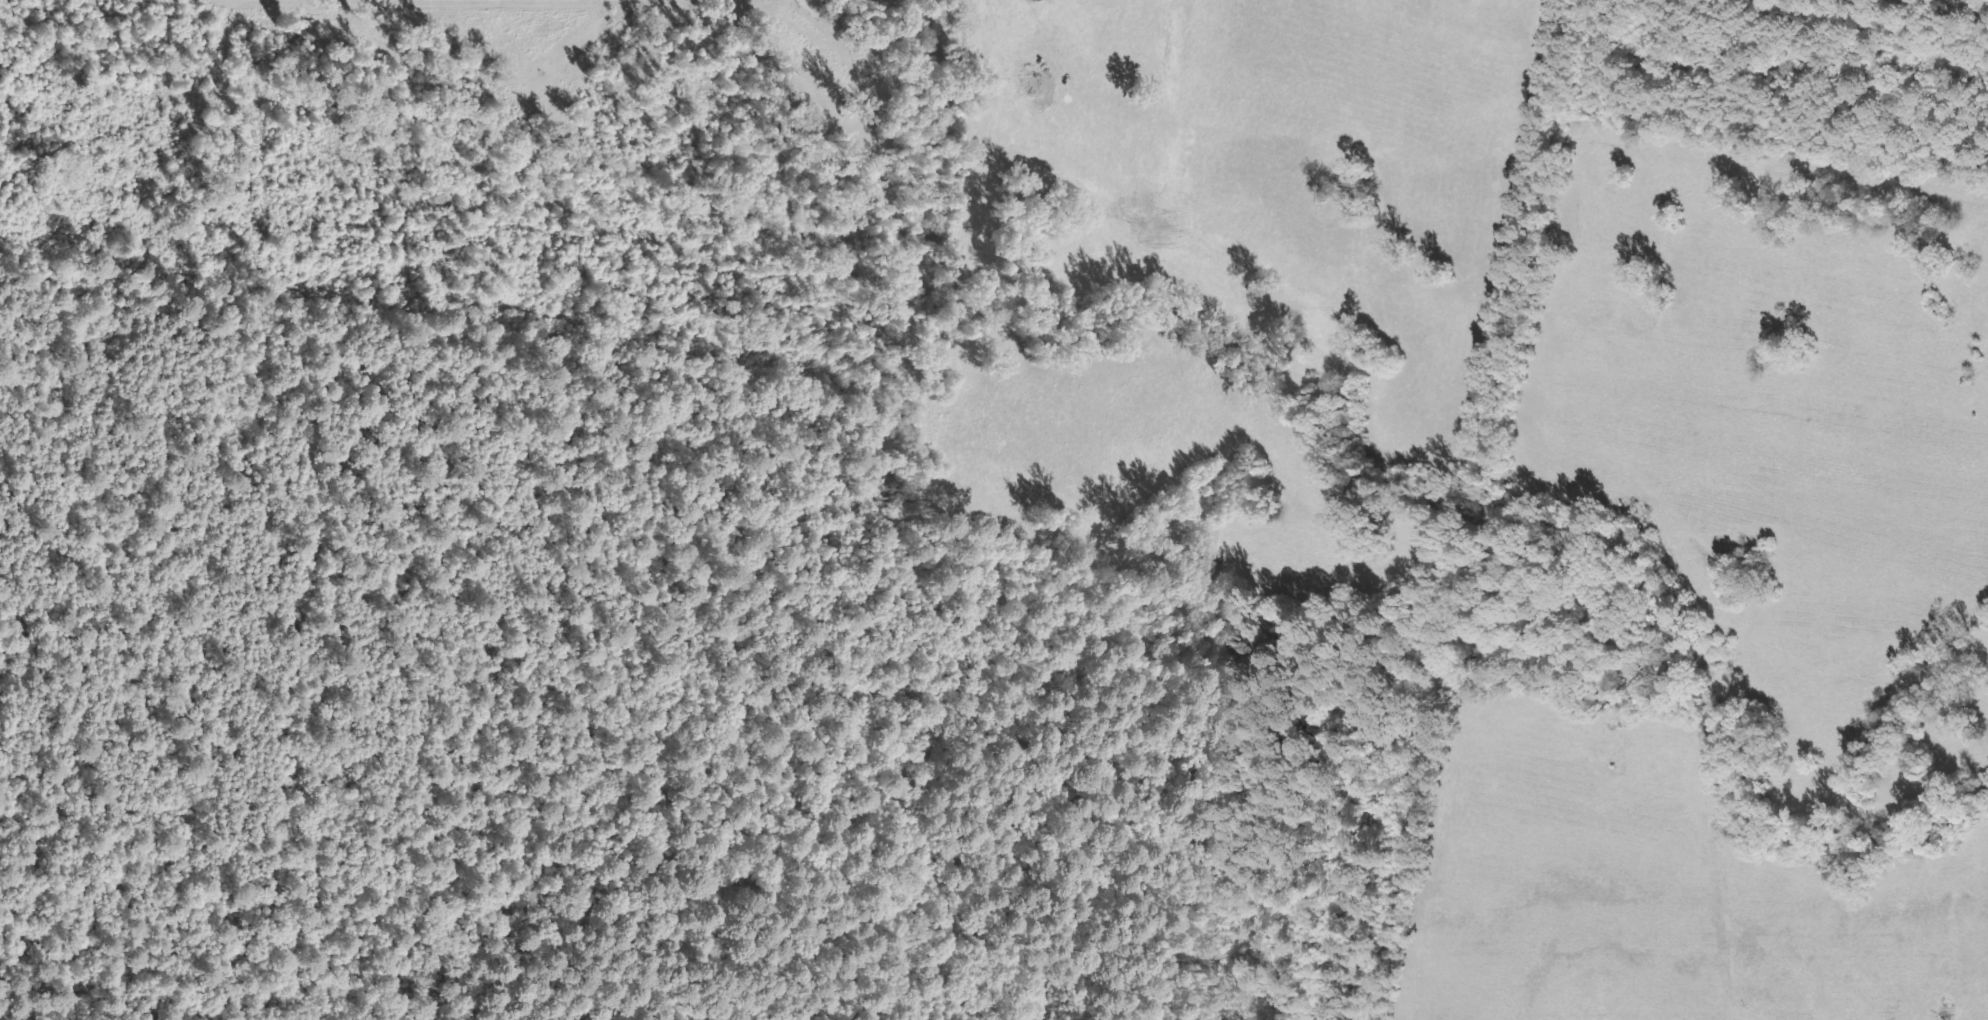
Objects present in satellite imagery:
road: (1508, 516)

